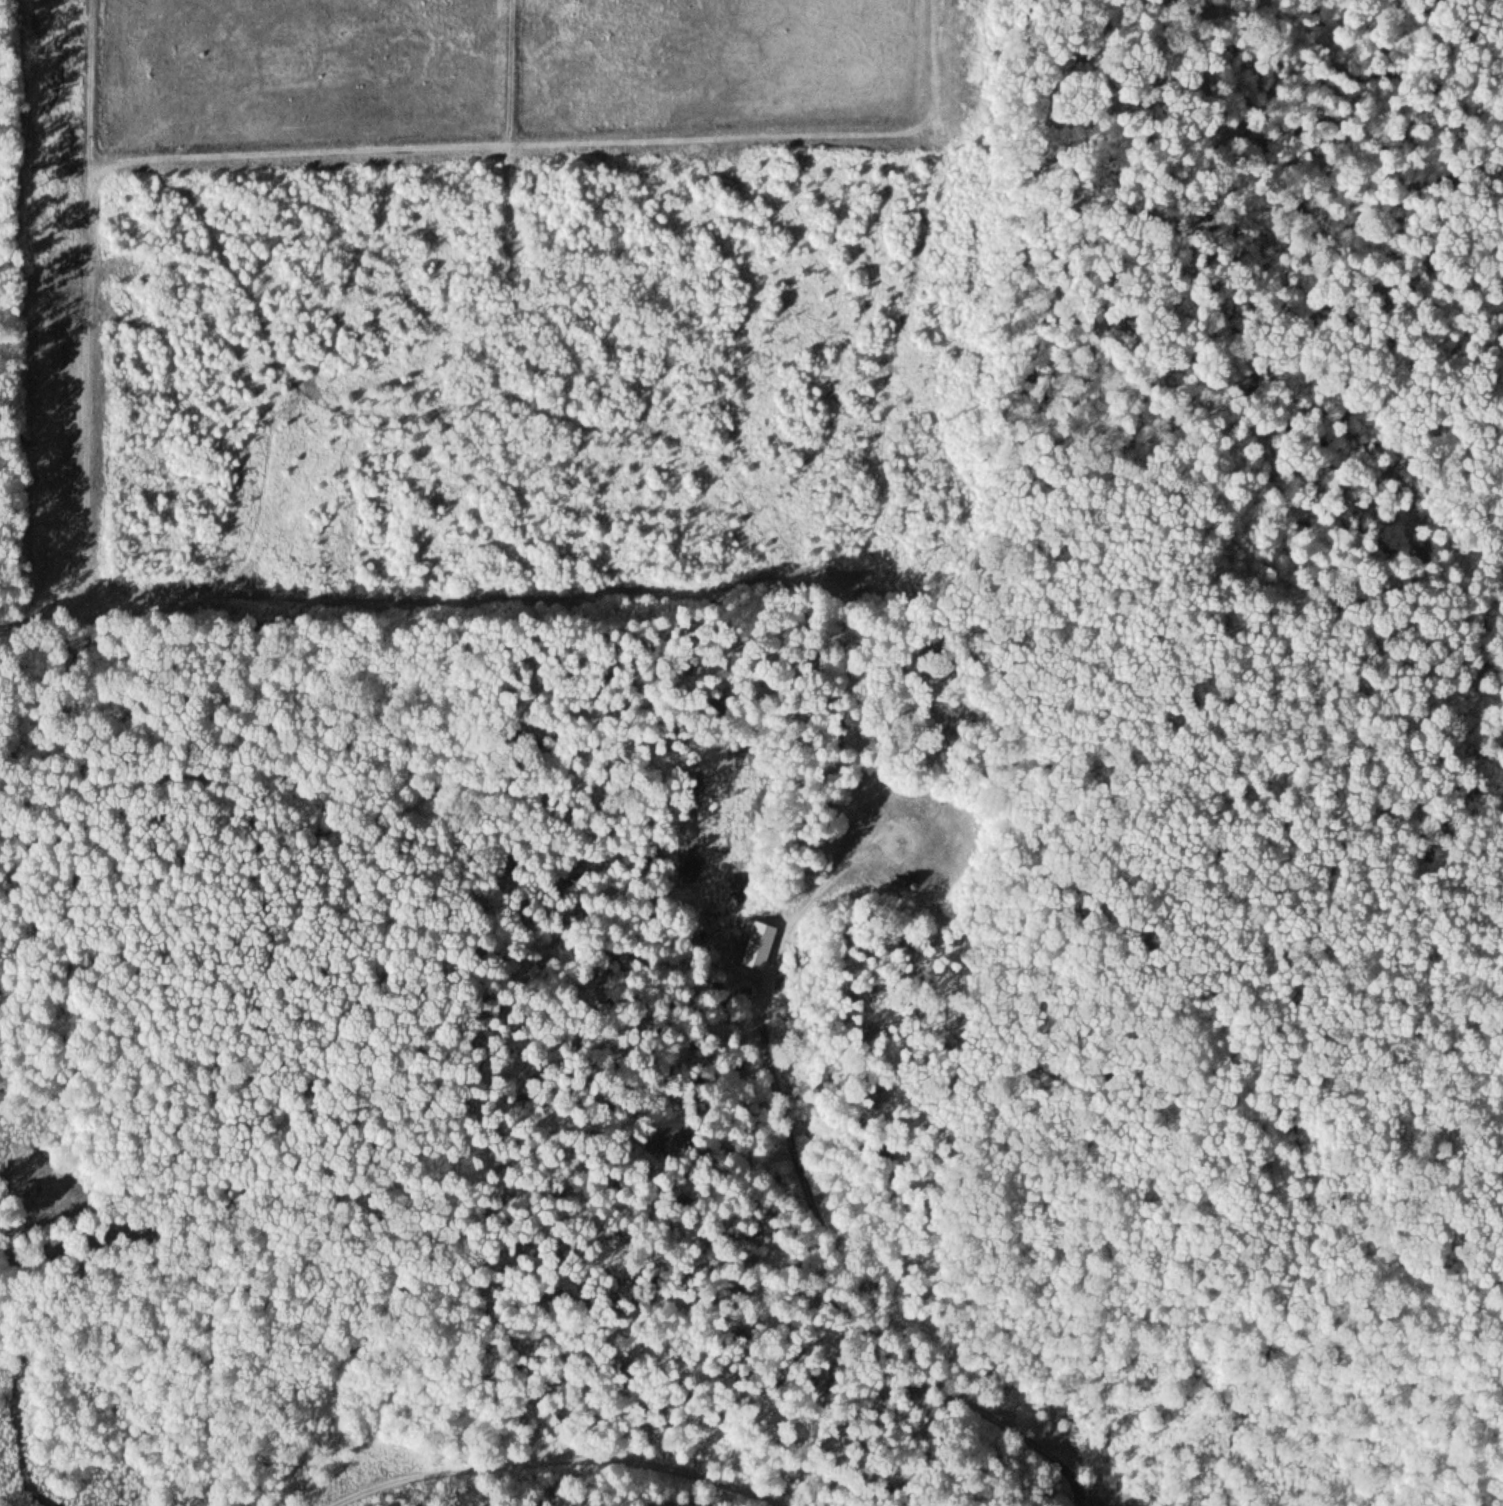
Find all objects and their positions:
road: (804, 1149)
road: (545, 1467)
road: (1102, 1503)

